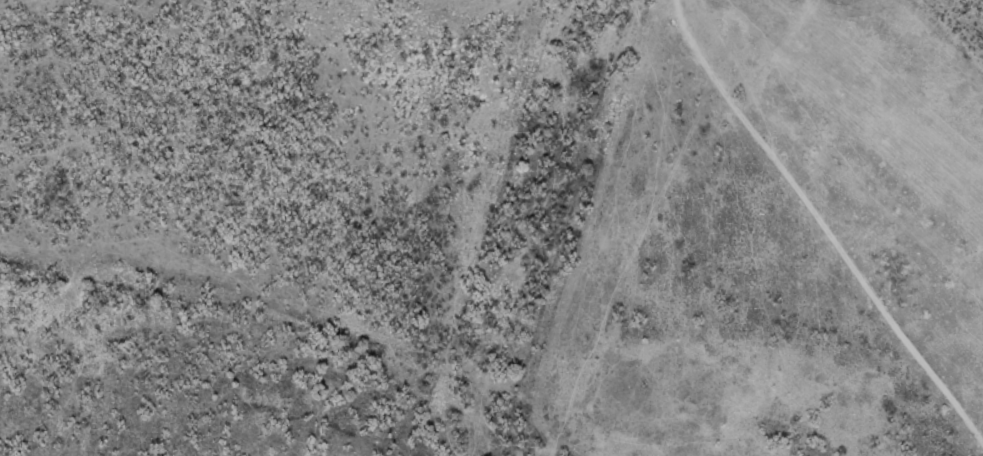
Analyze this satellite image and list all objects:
road: (585, 236)

